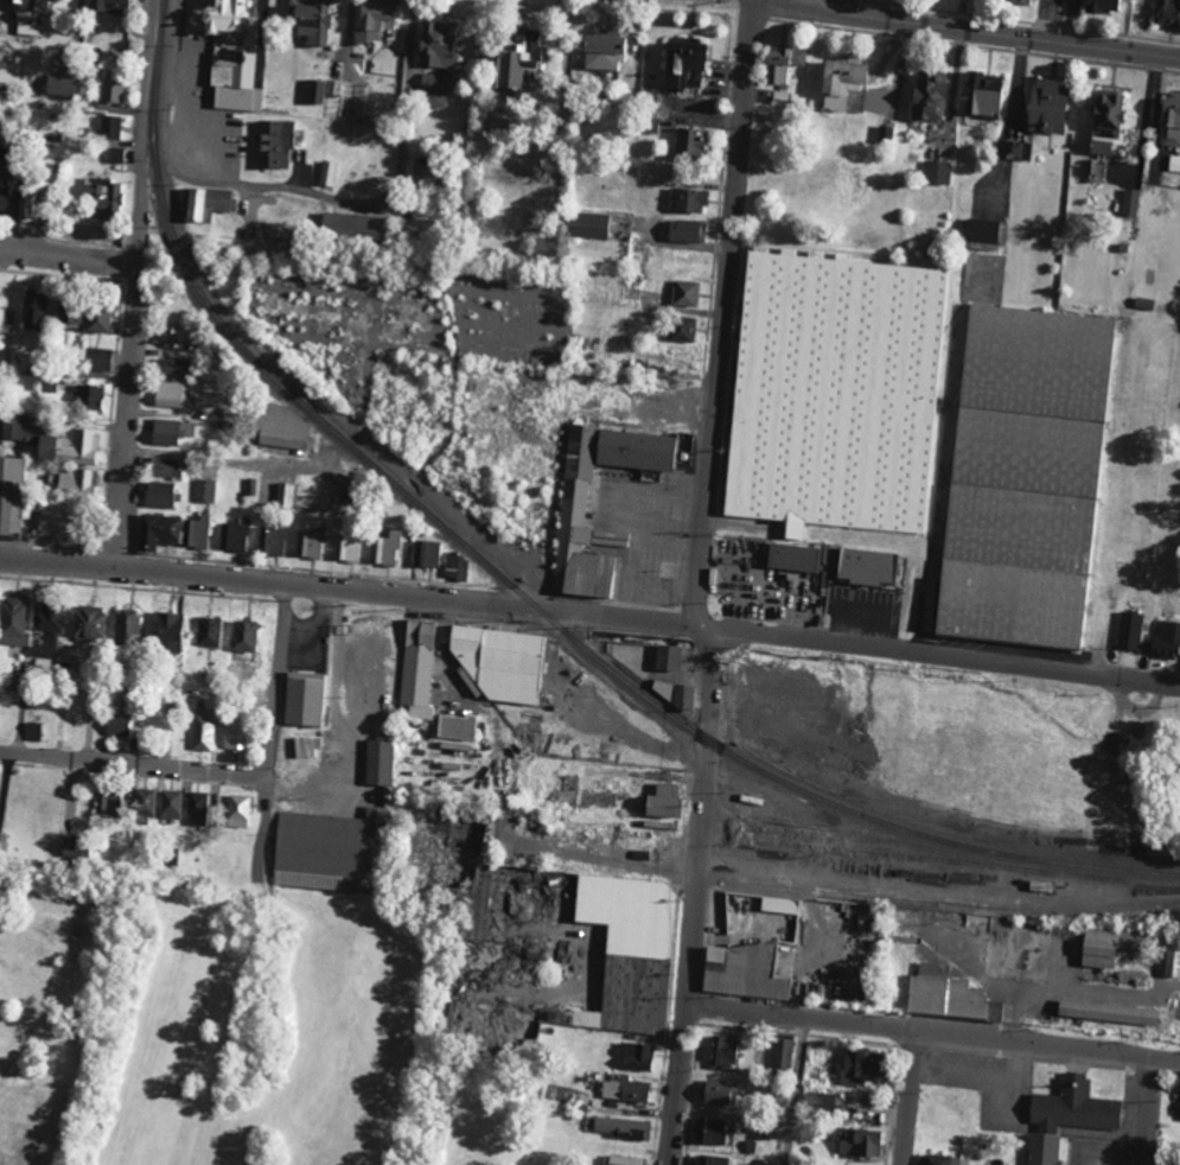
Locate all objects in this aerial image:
building: (107, 6)
building: (1167, 12)
building: (26, 17)
building: (372, 19)
building: (307, 23)
road: (996, 33)
building: (435, 44)
building: (599, 49)
building: (229, 55)
building: (511, 59)
building: (681, 64)
building: (780, 64)
building: (58, 84)
building: (842, 84)
building: (111, 90)
building: (320, 90)
building: (433, 90)
building: (926, 95)
building: (983, 96)
building: (1045, 104)
road: (1147, 109)
building: (1169, 119)
building: (1103, 123)
building: (109, 127)
building: (687, 144)
building: (273, 145)
building: (1016, 149)
building: (115, 155)
building: (1174, 164)
building: (1098, 170)
building: (936, 172)
building: (327, 173)
road: (295, 189)
building: (1, 193)
building: (102, 198)
building: (685, 200)
building: (1129, 202)
building: (203, 203)
building: (24, 204)
building: (587, 225)
building: (350, 228)
building: (682, 230)
building: (980, 230)
road: (69, 252)
road: (139, 284)
building: (680, 293)
building: (32, 311)
road: (722, 311)
building: (66, 318)
building: (96, 318)
building: (680, 330)
building: (177, 336)
building: (96, 359)
building: (172, 367)
building: (838, 390)
building: (172, 394)
building: (88, 397)
building: (281, 428)
building: (170, 432)
building: (53, 443)
building: (633, 446)
road: (232, 460)
building: (164, 467)
building: (1027, 478)
building: (75, 482)
building: (205, 491)
building: (159, 495)
building: (9, 496)
building: (283, 496)
building: (51, 526)
building: (157, 531)
building: (194, 533)
building: (235, 536)
building: (272, 541)
building: (310, 543)
building: (385, 548)
building: (347, 549)
building: (425, 554)
building: (791, 558)
building: (455, 567)
building: (865, 567)
railway: (518, 590)
road: (591, 613)
building: (50, 617)
building: (13, 622)
building: (89, 622)
building: (126, 624)
building: (167, 629)
building: (209, 631)
building: (1129, 631)
building: (243, 635)
building: (1166, 638)
building: (46, 647)
building: (665, 656)
building: (500, 663)
building: (416, 668)
road: (281, 680)
road: (334, 680)
building: (468, 683)
building: (675, 693)
building: (302, 698)
building: (119, 724)
building: (455, 726)
building: (202, 730)
building: (33, 731)
building: (235, 734)
building: (304, 746)
building: (377, 762)
road: (135, 764)
building: (108, 798)
building: (661, 800)
building: (145, 801)
building: (172, 804)
building: (198, 808)
building: (238, 810)
road: (269, 810)
railway: (908, 845)
building: (72, 846)
building: (324, 851)
railway: (957, 862)
road: (626, 868)
railway: (1133, 876)
road: (697, 896)
building: (478, 900)
building: (778, 904)
railway: (996, 910)
building: (1103, 944)
building: (627, 950)
building: (1172, 956)
building: (741, 970)
building: (943, 993)
building: (1105, 1011)
road: (933, 1032)
building: (783, 1051)
building: (719, 1052)
building: (636, 1056)
building: (857, 1065)
building: (623, 1088)
road: (796, 1090)
building: (719, 1093)
road: (913, 1097)
building: (819, 1101)
building: (1072, 1106)
road: (1150, 1110)
building: (620, 1127)
building: (770, 1128)
building: (708, 1129)
building: (859, 1141)
building: (1041, 1148)
building: (943, 1159)
building: (620, 1160)
building: (709, 1160)

